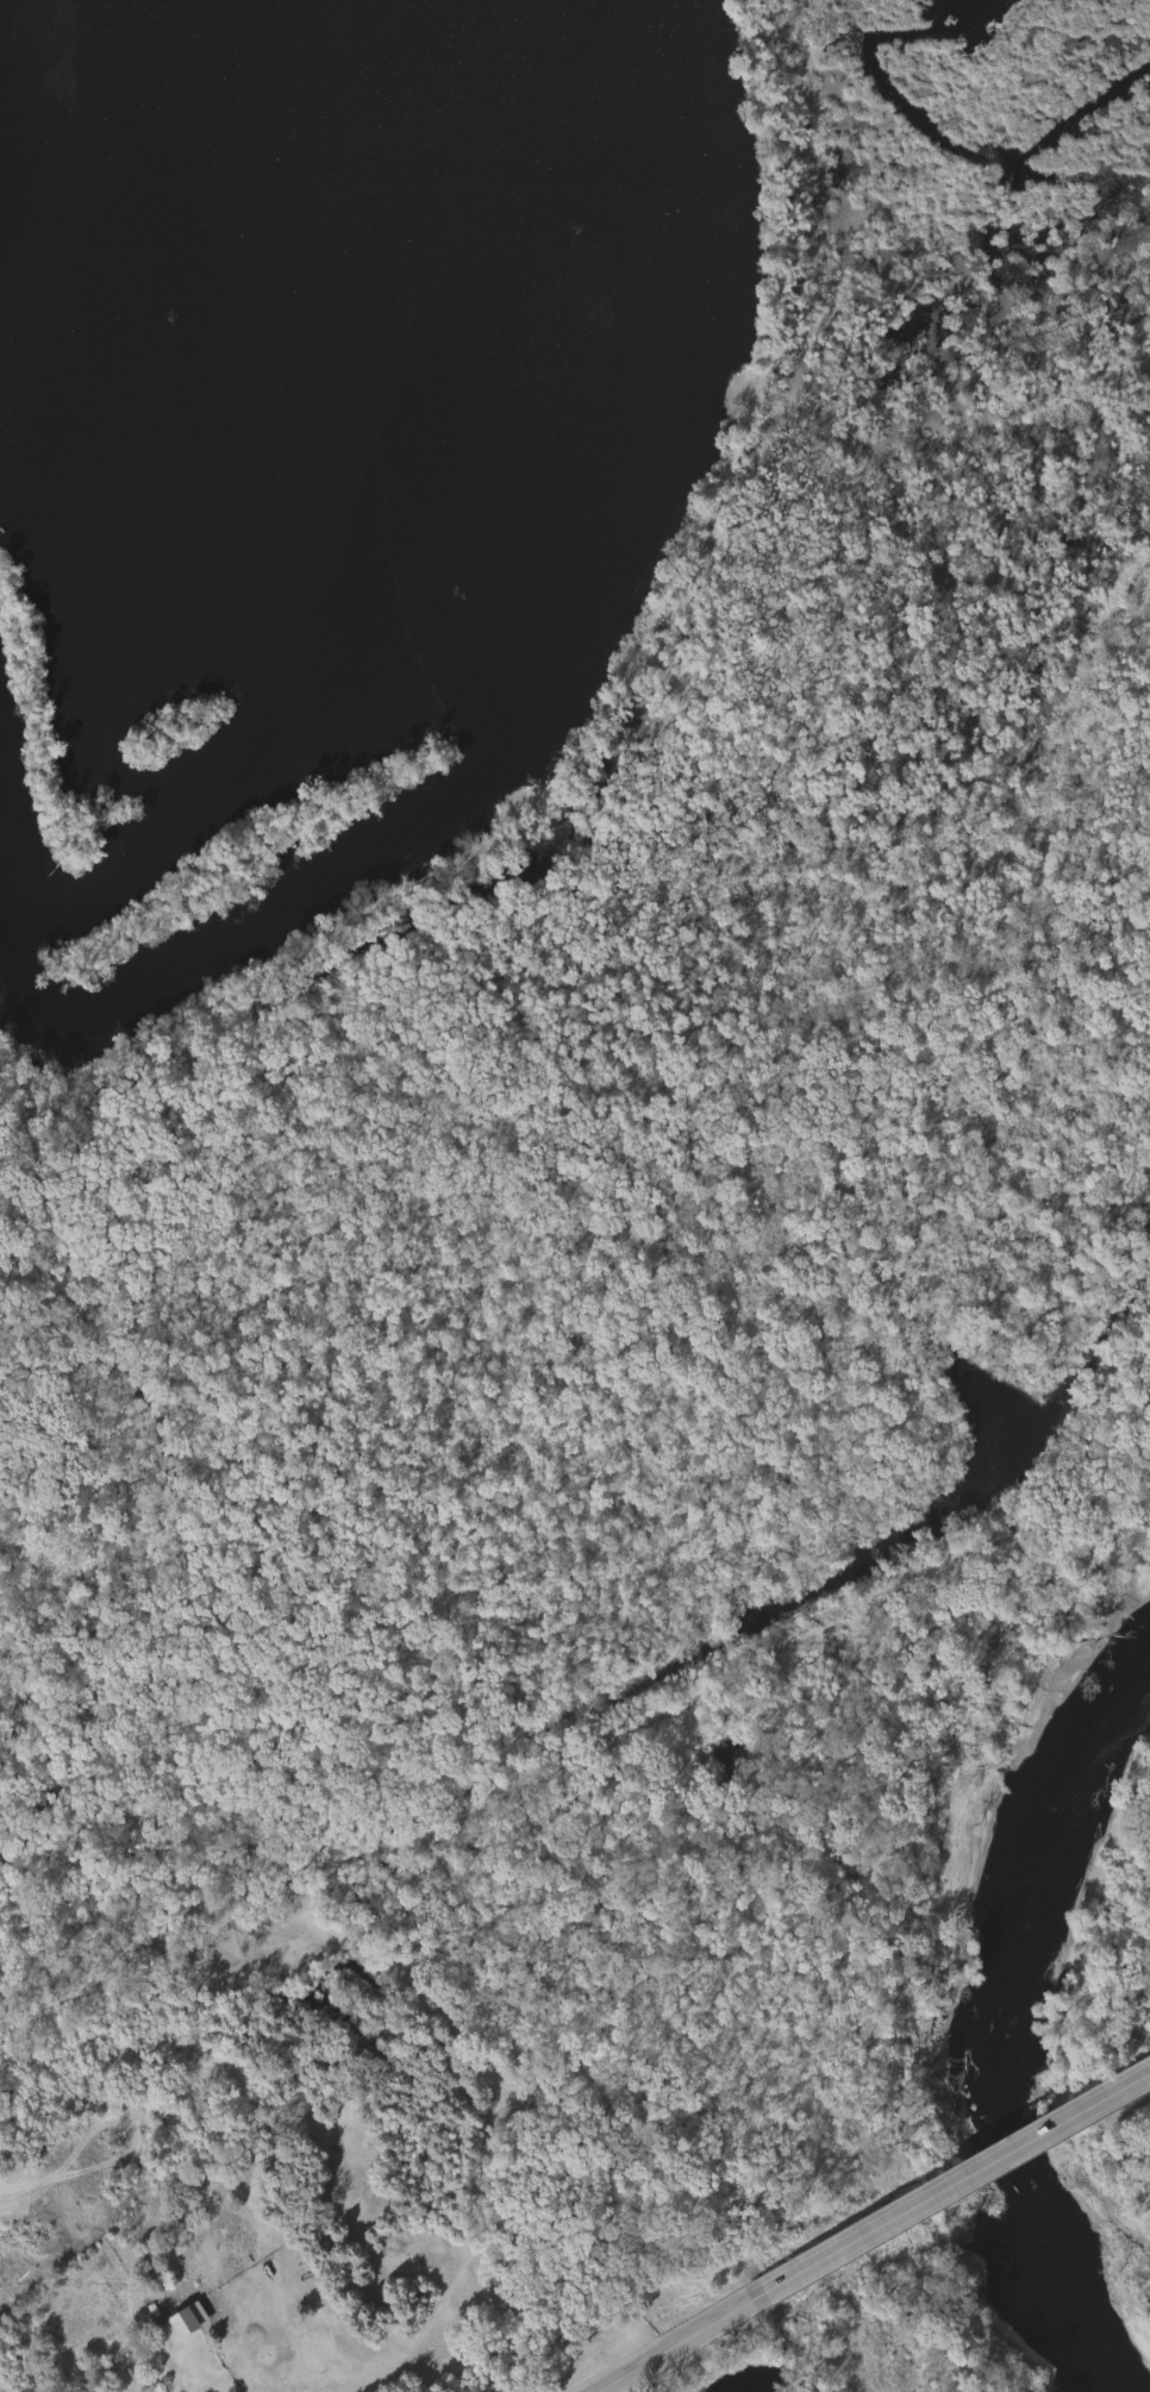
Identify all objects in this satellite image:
river: (1060, 1879)
building: (156, 2104)
river: (1057, 2129)
road: (952, 2185)
river: (1070, 2274)
building: (186, 2322)
road: (675, 2344)
building: (149, 2390)
building: (157, 2390)
road: (206, 2391)

